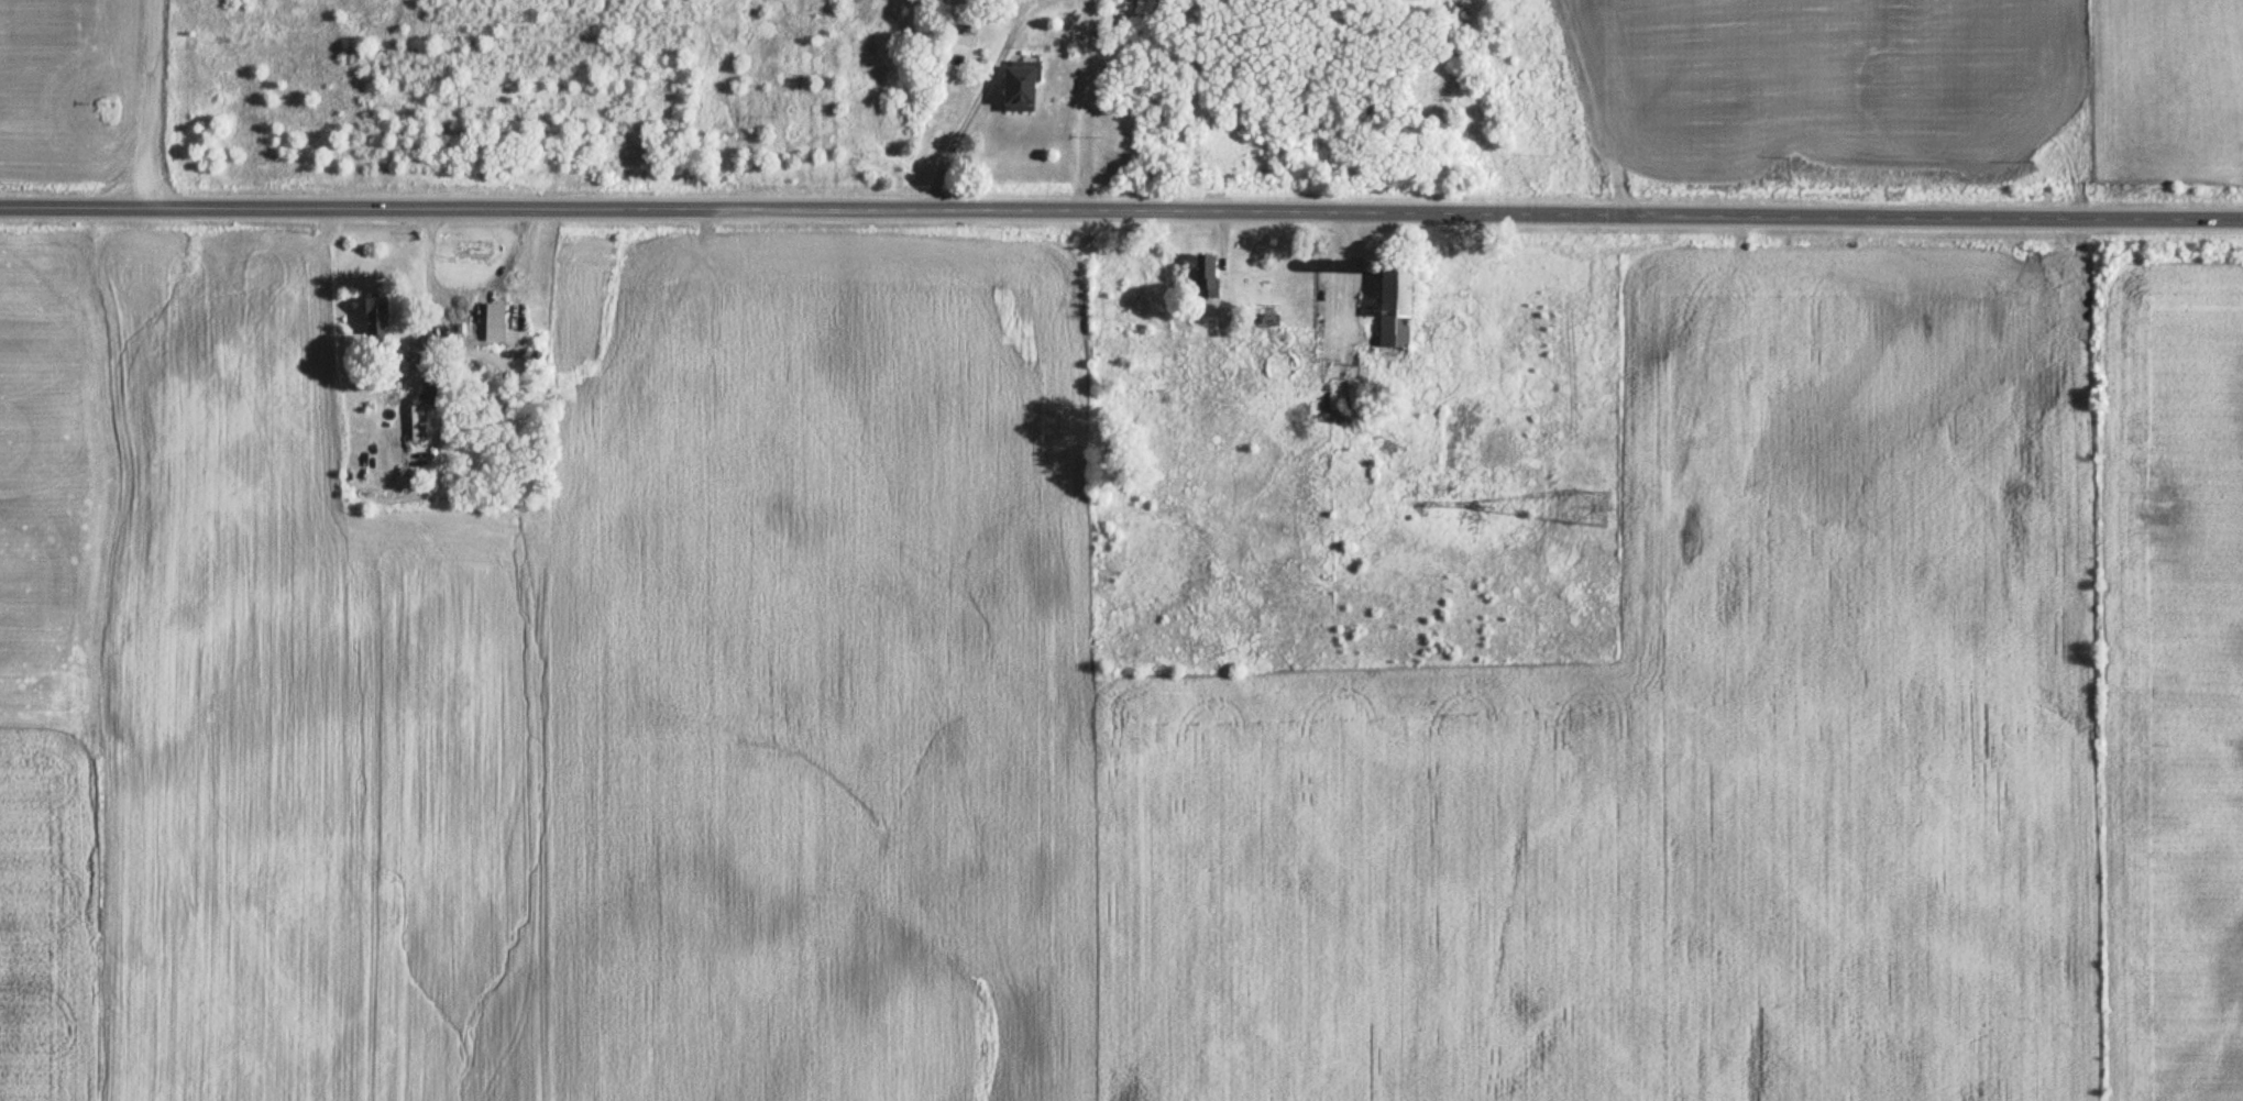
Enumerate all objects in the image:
building: (1122, 4)
building: (1018, 88)
road: (155, 104)
road: (958, 140)
road: (1121, 211)
building: (1206, 276)
road: (463, 301)
building: (1394, 306)
building: (375, 320)
power tower: (1594, 510)

